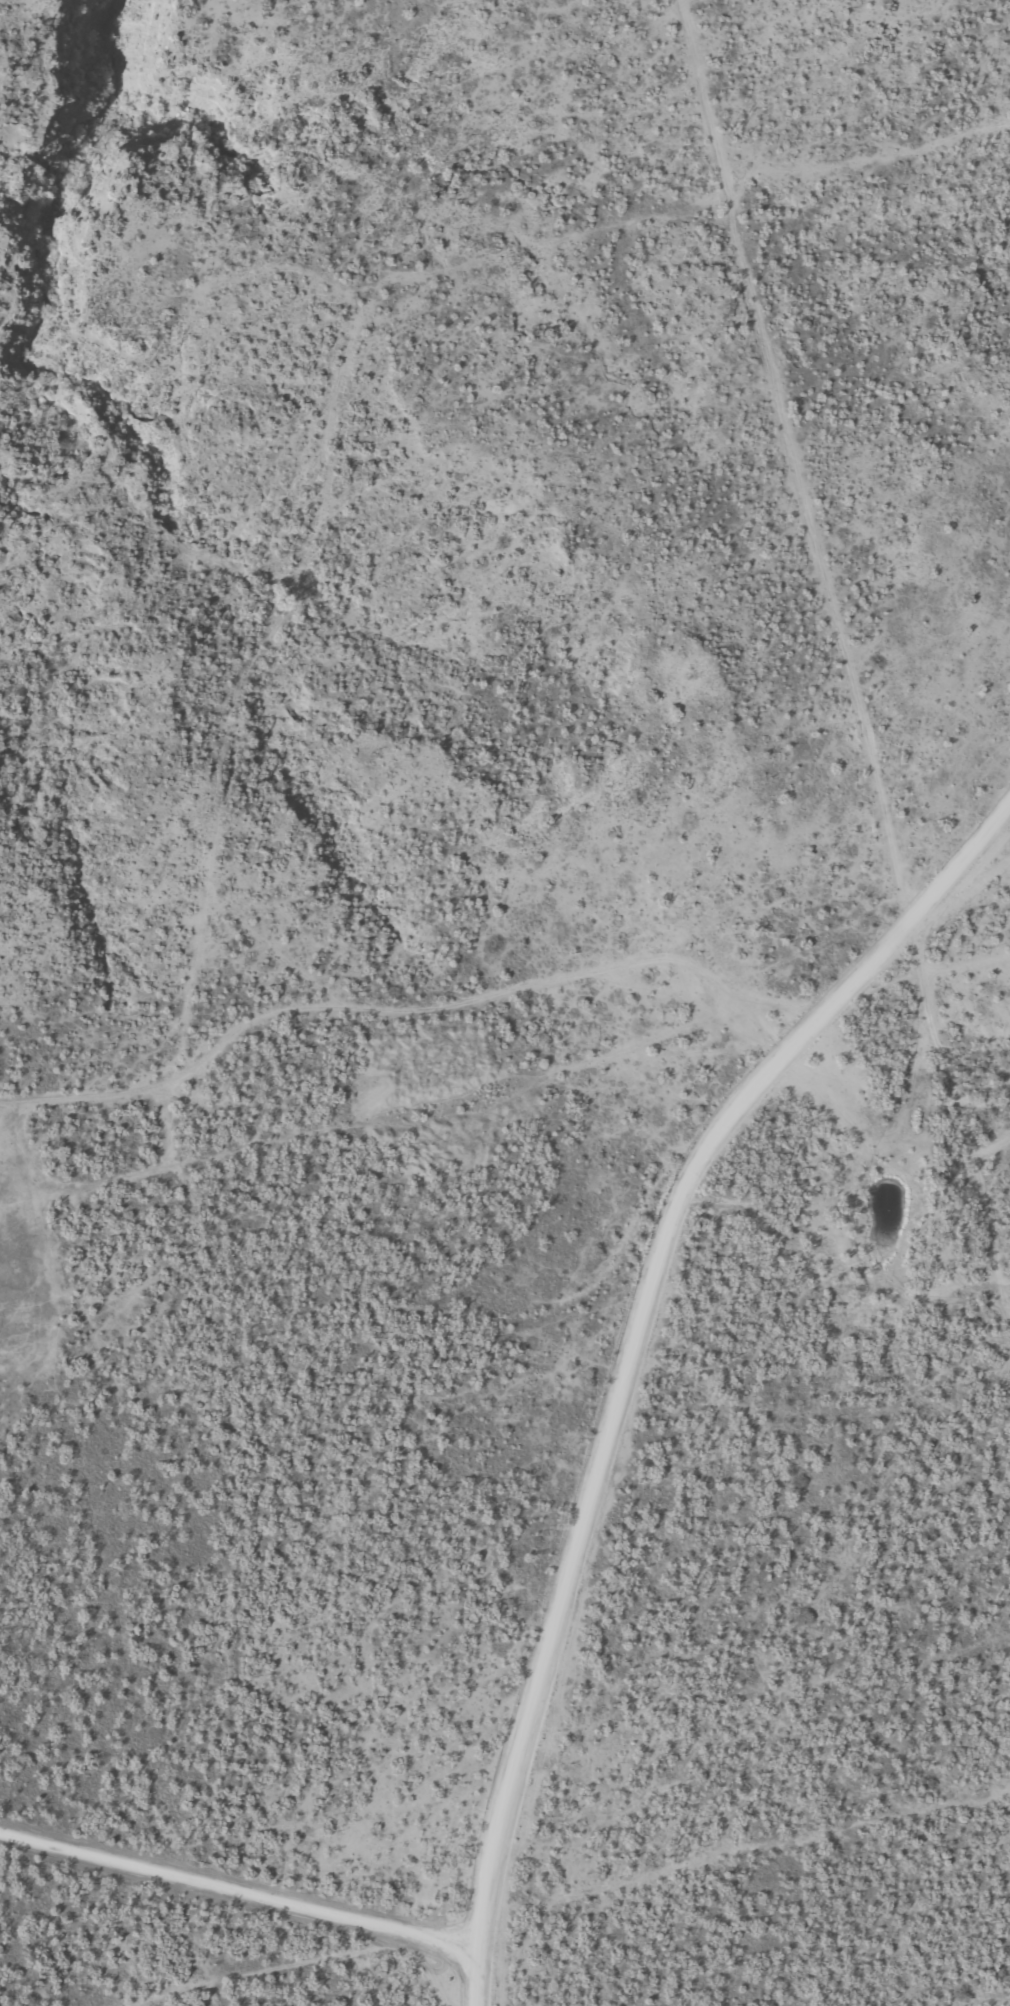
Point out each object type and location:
road: (612, 1331)

